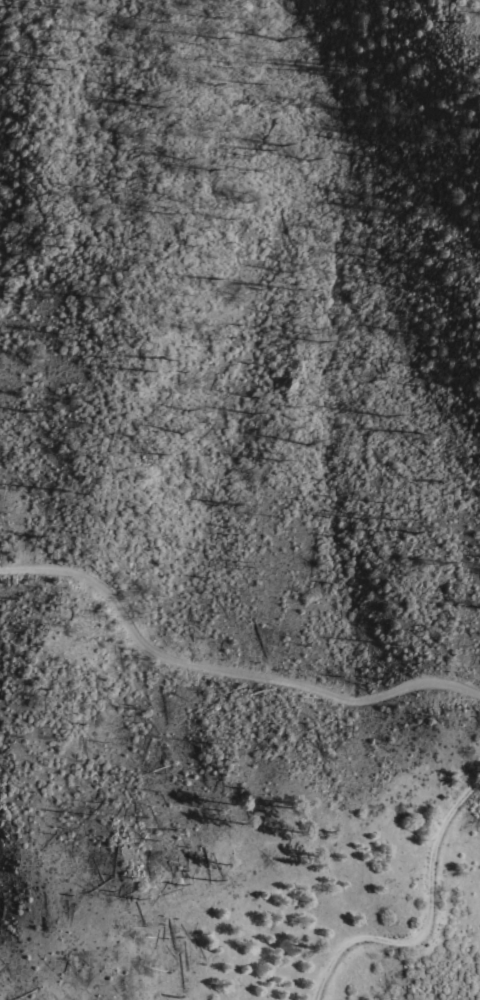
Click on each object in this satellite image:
road: (290, 5)
road: (222, 676)
road: (424, 918)

